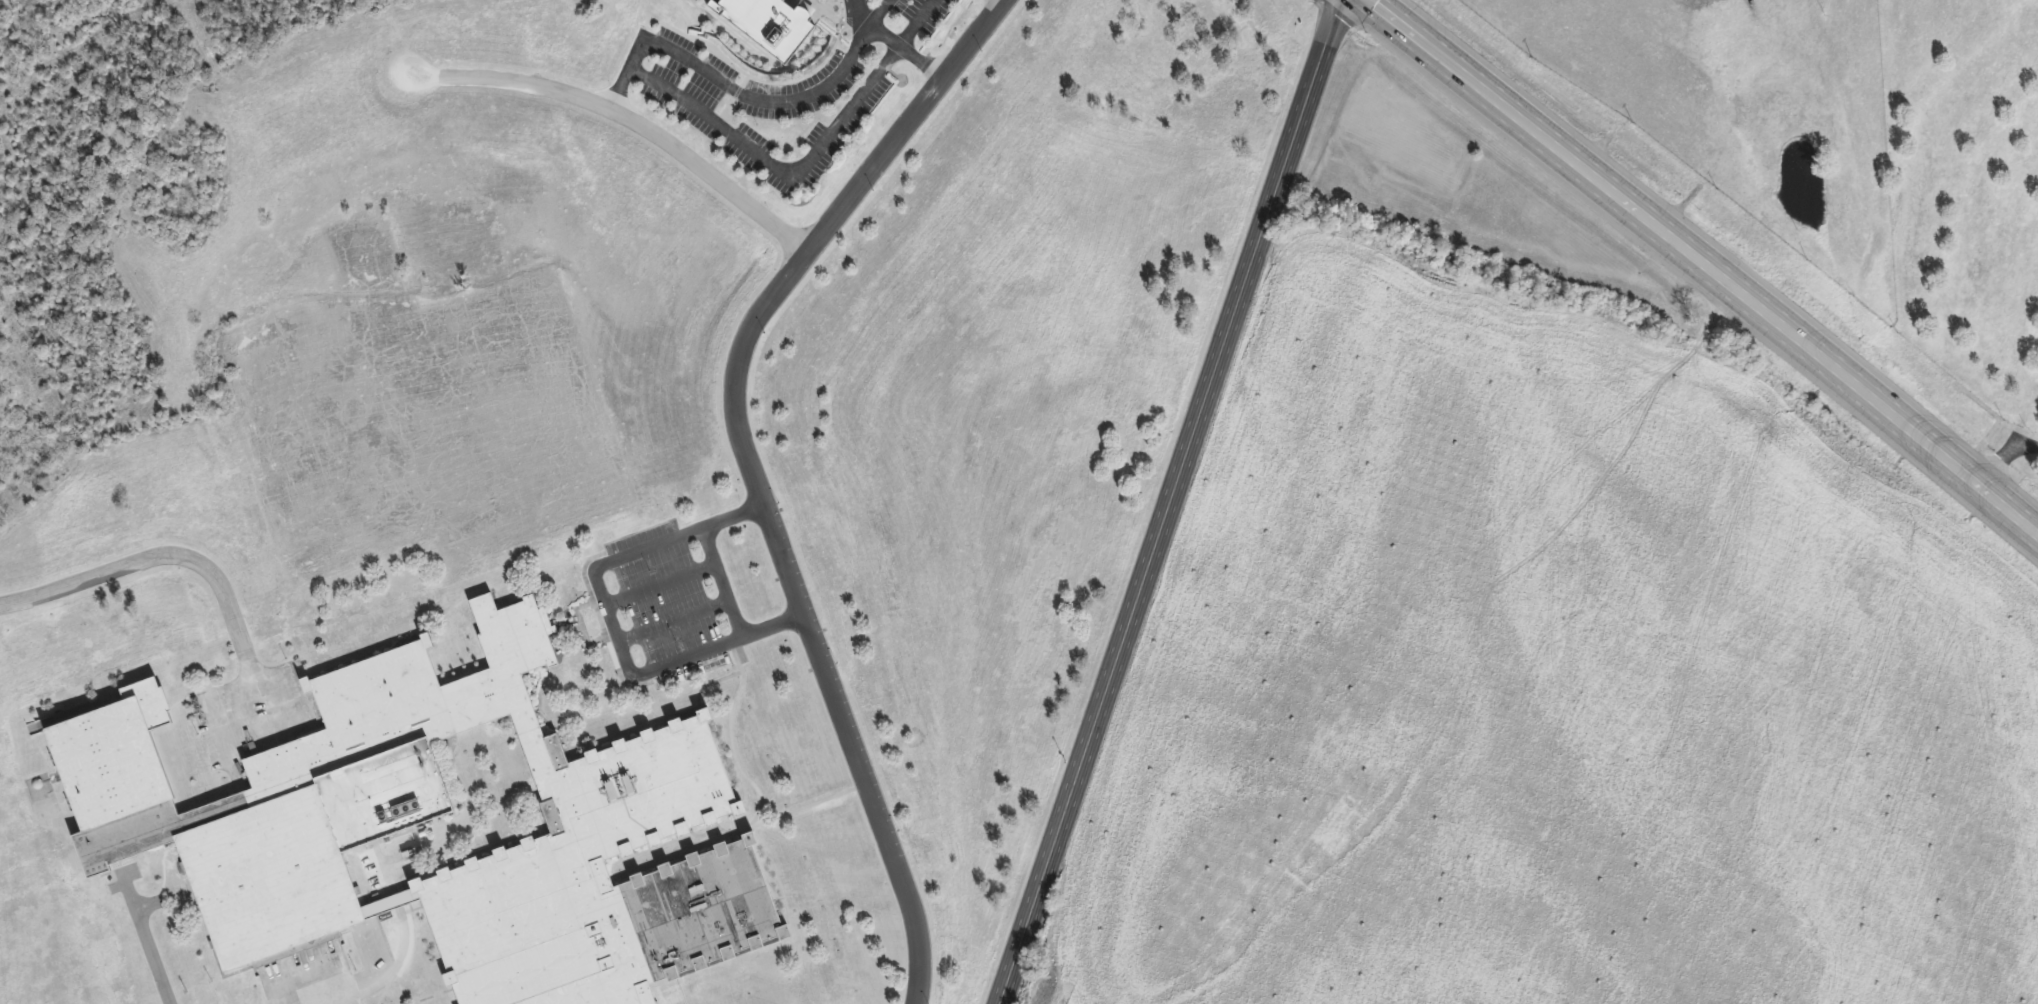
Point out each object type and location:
road: (876, 11)
building: (771, 25)
road: (893, 43)
road: (750, 96)
road: (627, 119)
road: (786, 175)
road: (1701, 263)
road: (2003, 456)
road: (763, 473)
road: (1172, 502)
road: (155, 556)
road: (721, 582)
road: (658, 584)
parking lot: (666, 599)
road: (672, 621)
road: (609, 623)
road: (260, 742)
building: (443, 829)
road: (361, 926)
road: (146, 939)
road: (384, 976)
parking lot: (314, 977)

